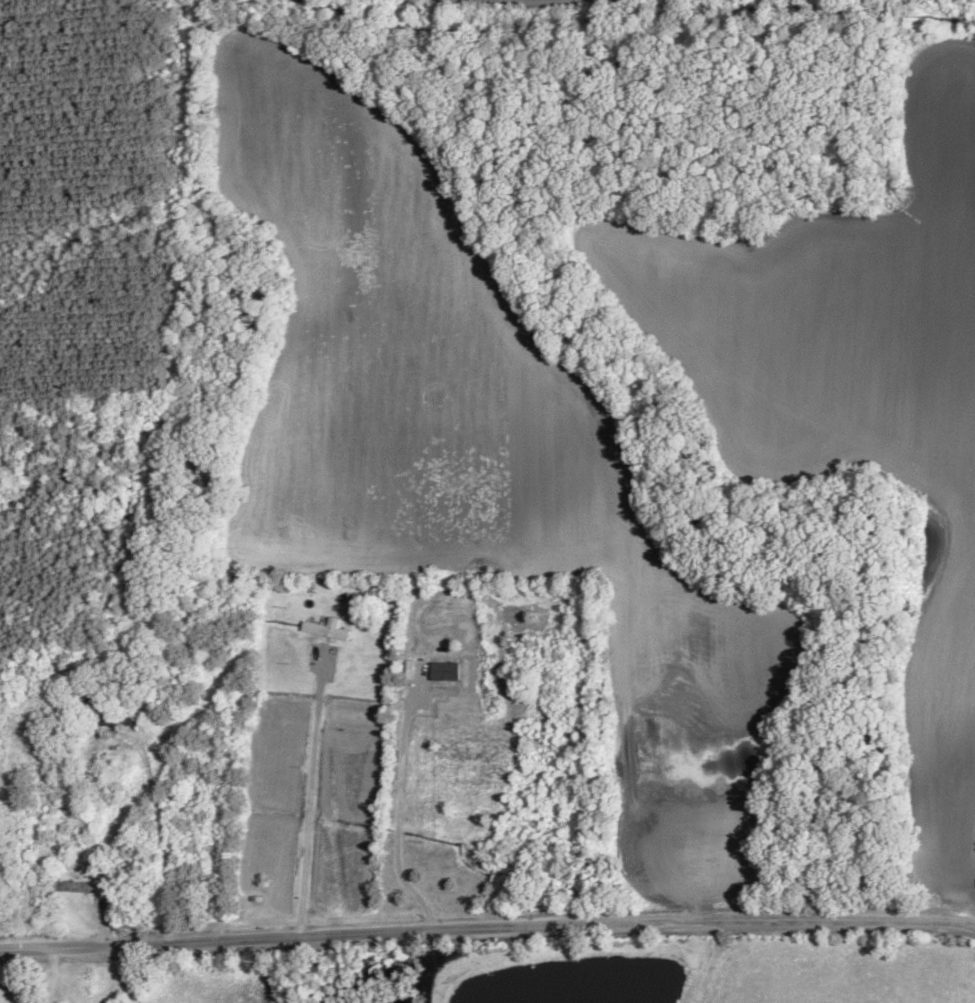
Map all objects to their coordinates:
building: (123, 722)
building: (76, 888)
road: (487, 928)

